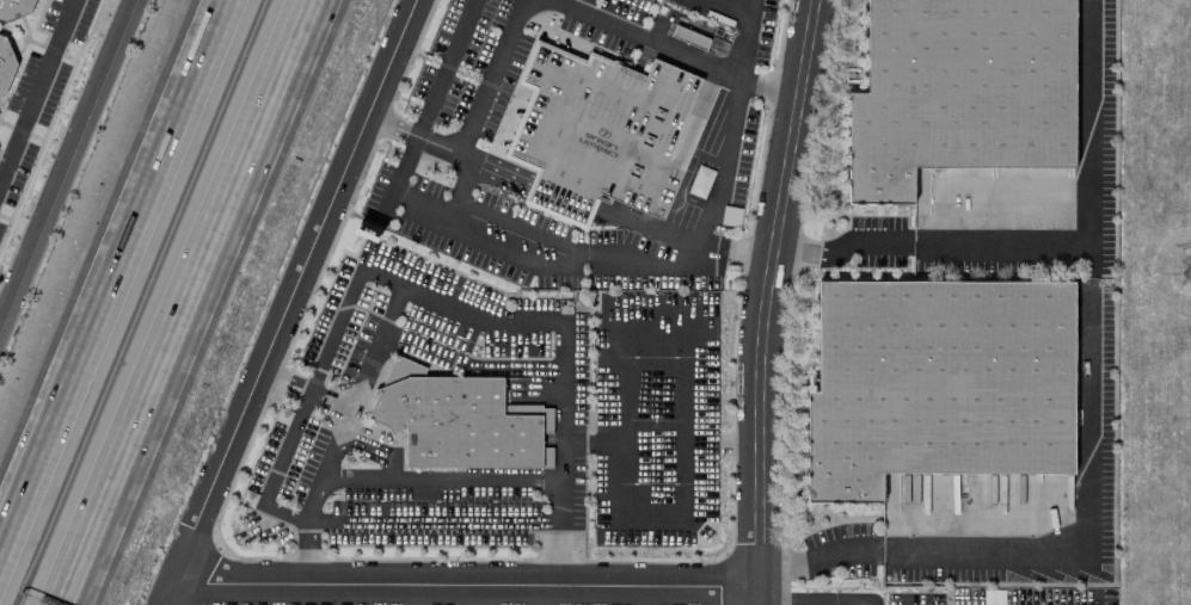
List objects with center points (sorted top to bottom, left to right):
building: (13, 7)
road: (722, 10)
road: (650, 41)
road: (743, 41)
building: (5, 62)
road: (35, 84)
building: (958, 89)
road: (468, 119)
building: (603, 131)
road: (65, 160)
road: (710, 178)
road: (1087, 205)
road: (842, 246)
road: (110, 270)
road: (767, 300)
road: (174, 302)
road: (289, 302)
road: (499, 322)
road: (284, 382)
building: (937, 382)
road: (329, 401)
road: (351, 402)
building: (453, 420)
road: (717, 443)
road: (624, 456)
road: (440, 477)
road: (1087, 487)
building: (888, 501)
road: (557, 554)
road: (821, 557)
road: (465, 585)
road: (480, 595)
road: (536, 595)
road: (816, 604)
road: (816, 604)

